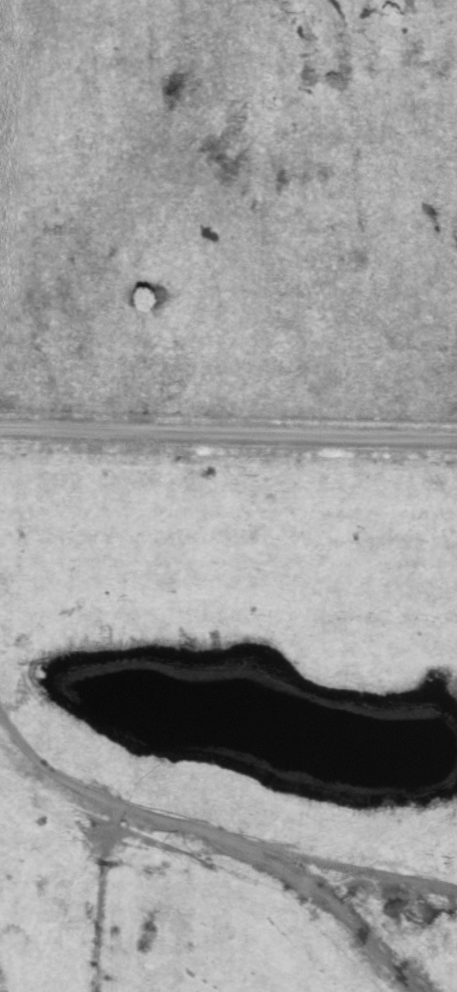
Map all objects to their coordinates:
road: (228, 434)

